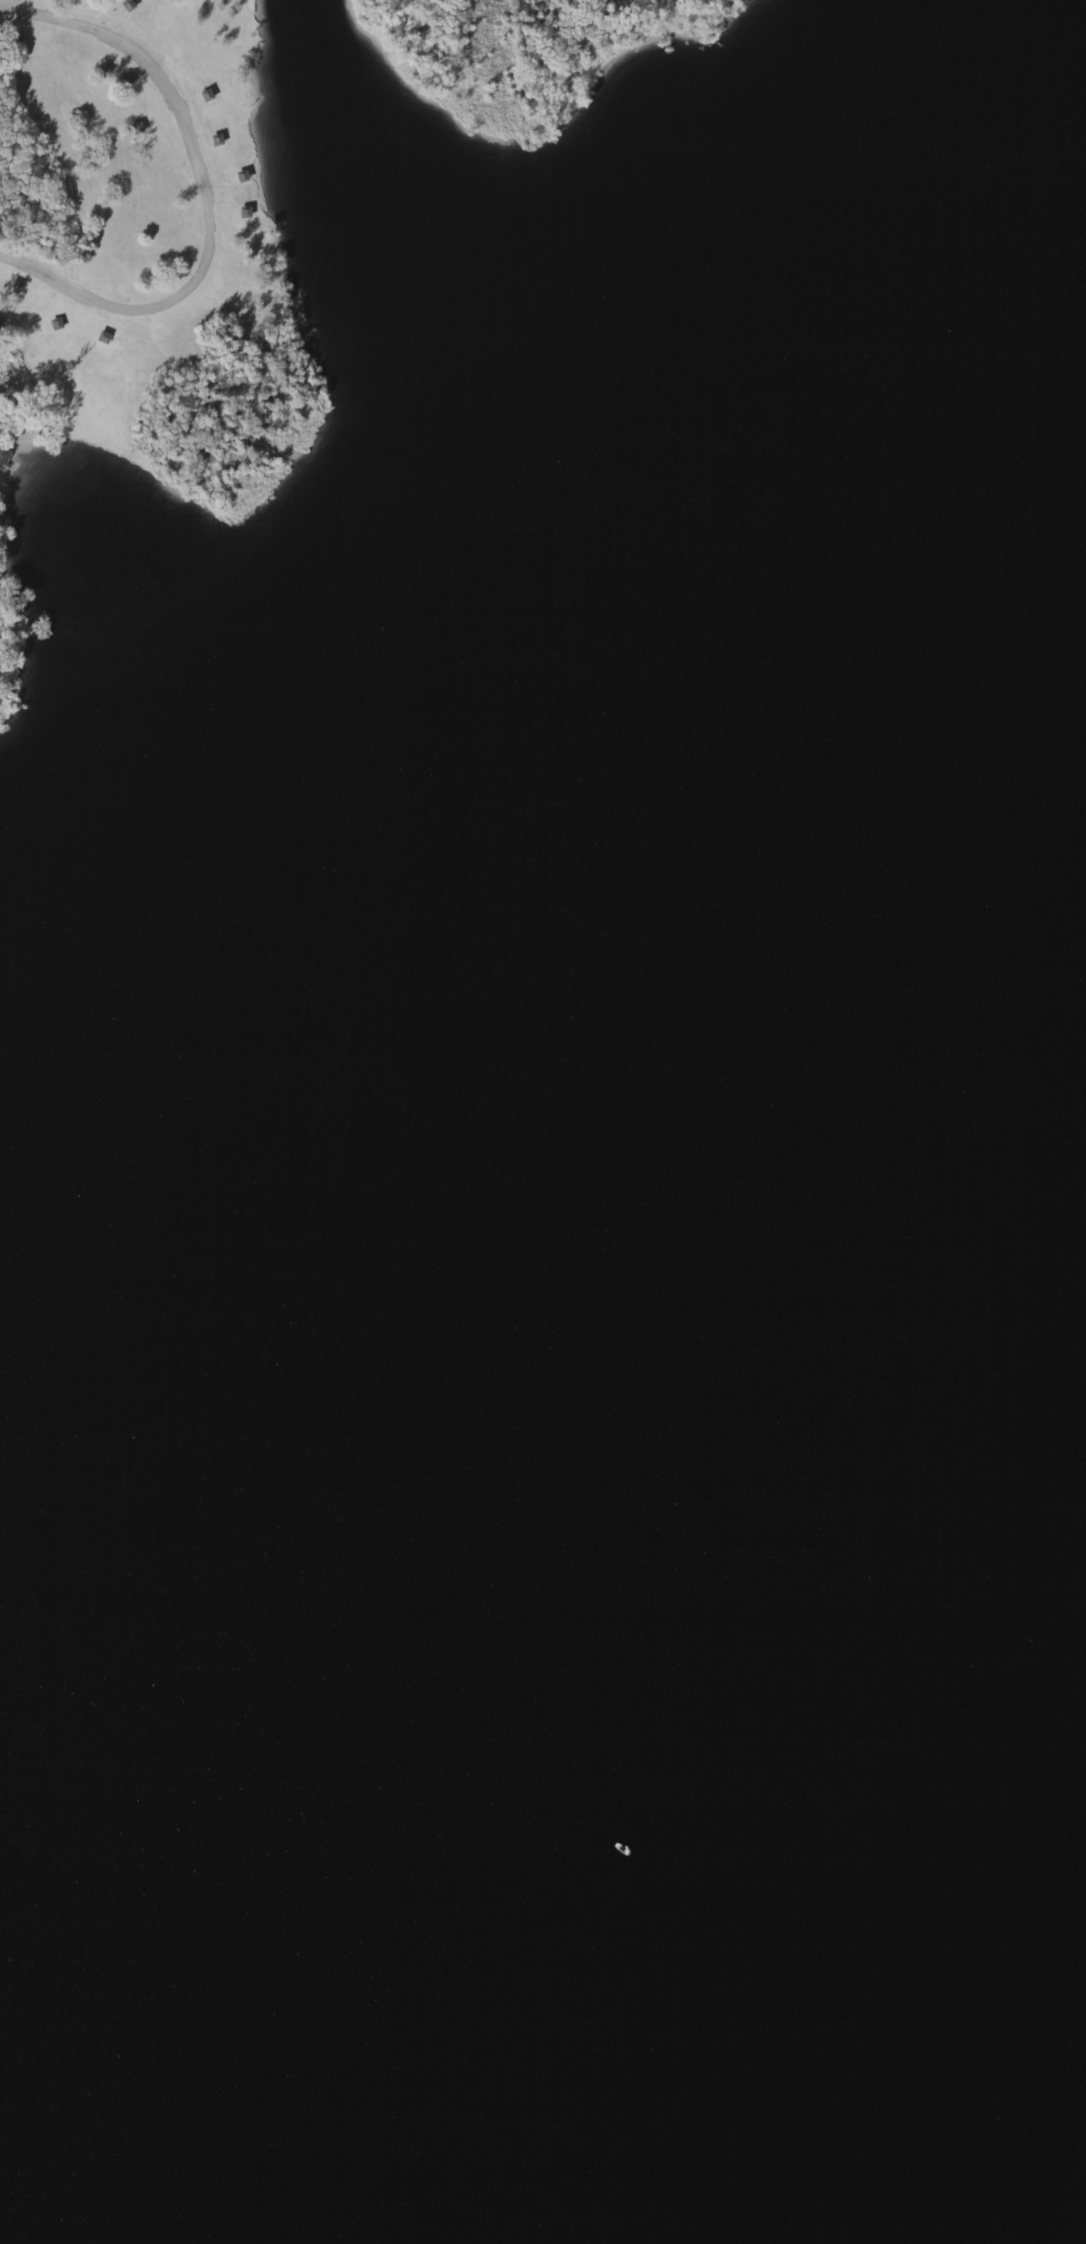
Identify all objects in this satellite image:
park: (529, 54)
road: (211, 198)
park: (144, 269)

